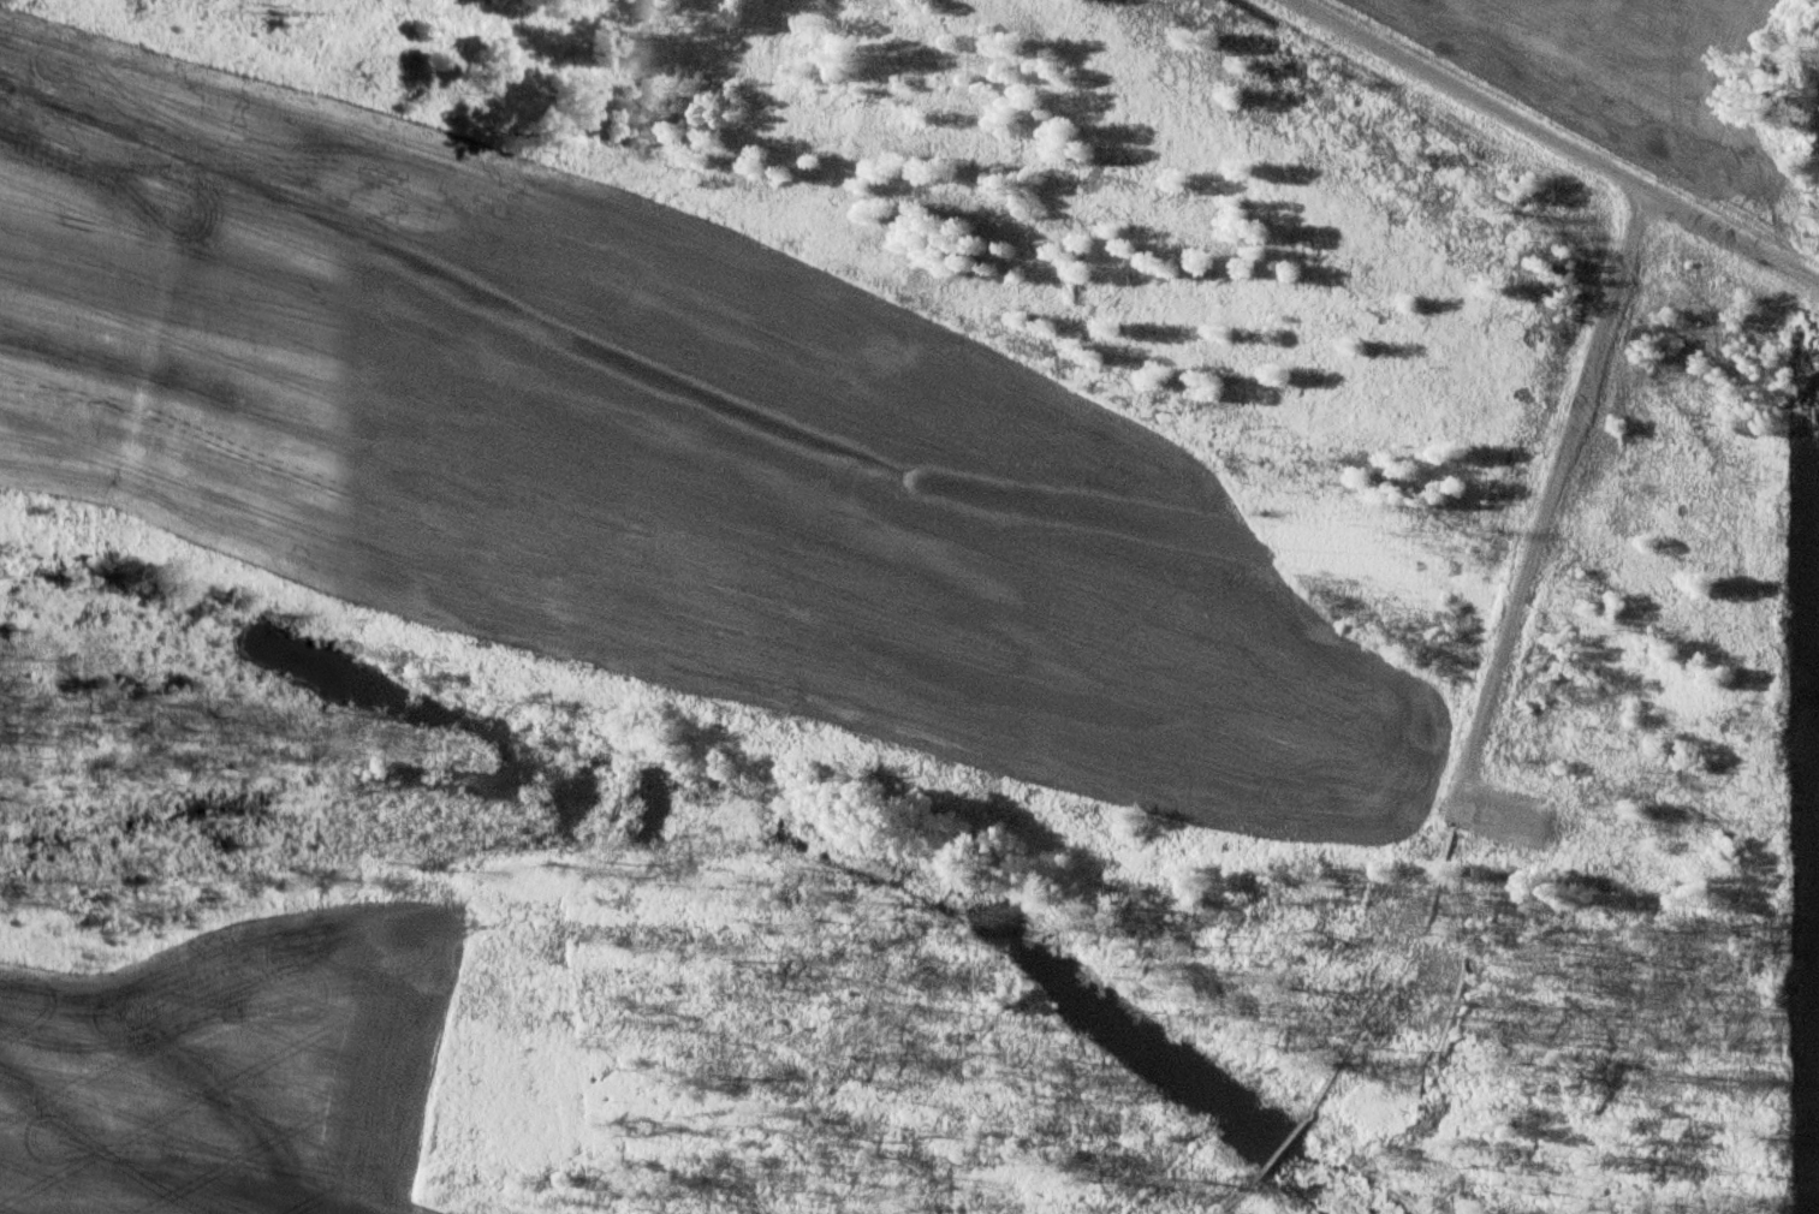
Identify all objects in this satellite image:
road: (1555, 141)

